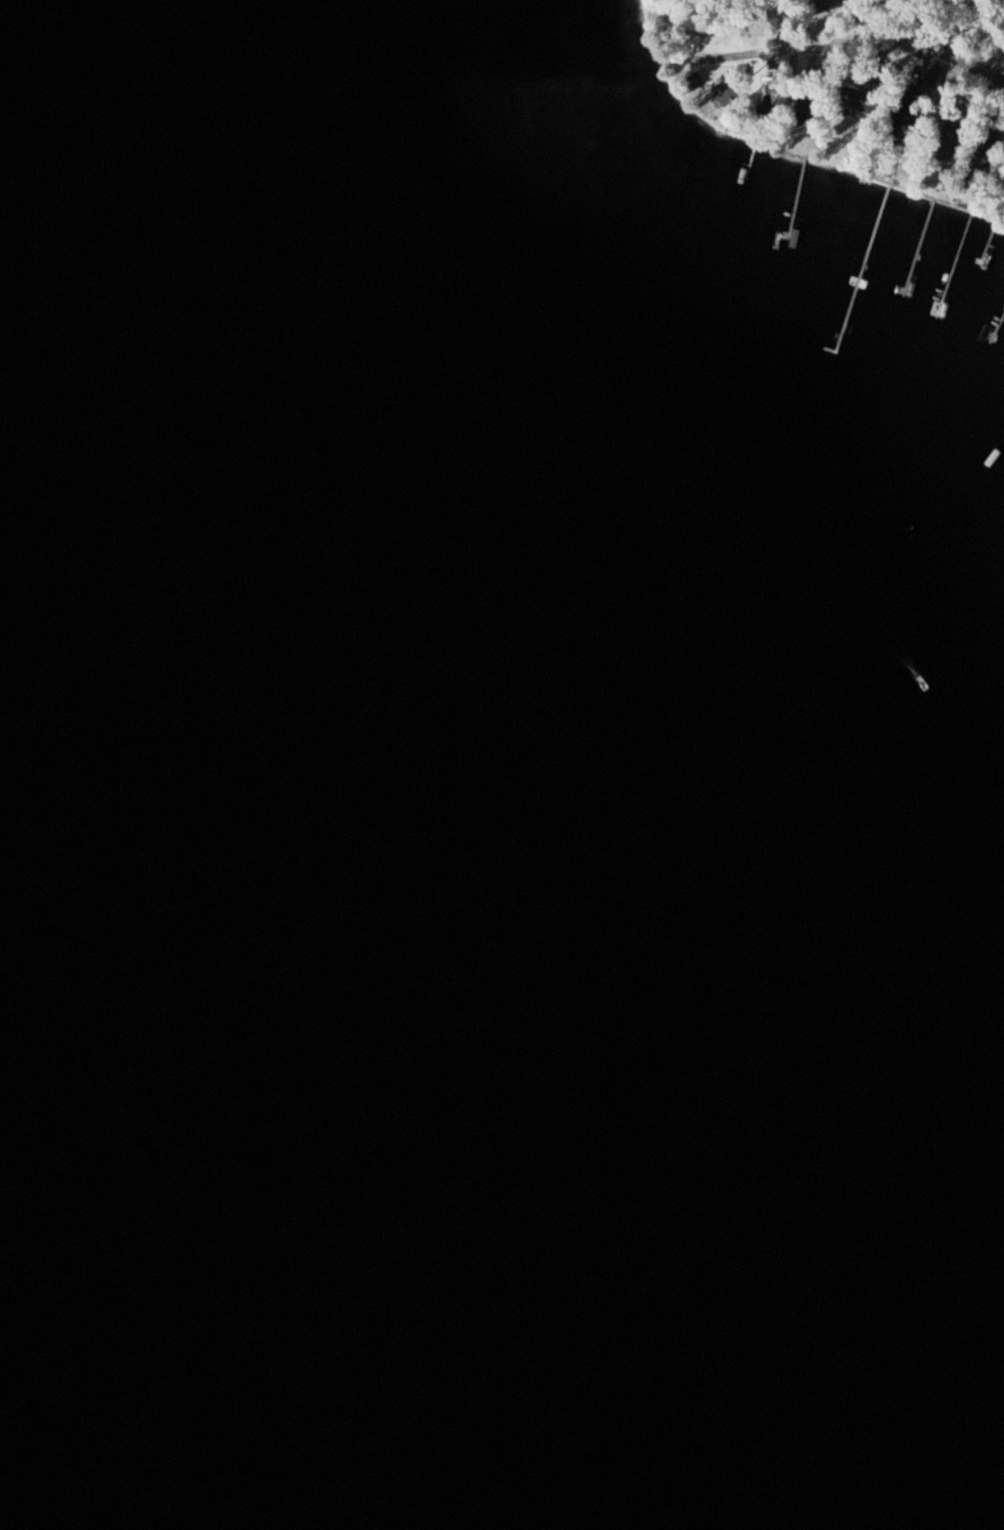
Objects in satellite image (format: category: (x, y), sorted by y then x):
road: (849, 18)
road: (838, 37)
building: (696, 82)
building: (727, 93)
building: (860, 100)
building: (809, 111)
building: (952, 145)

